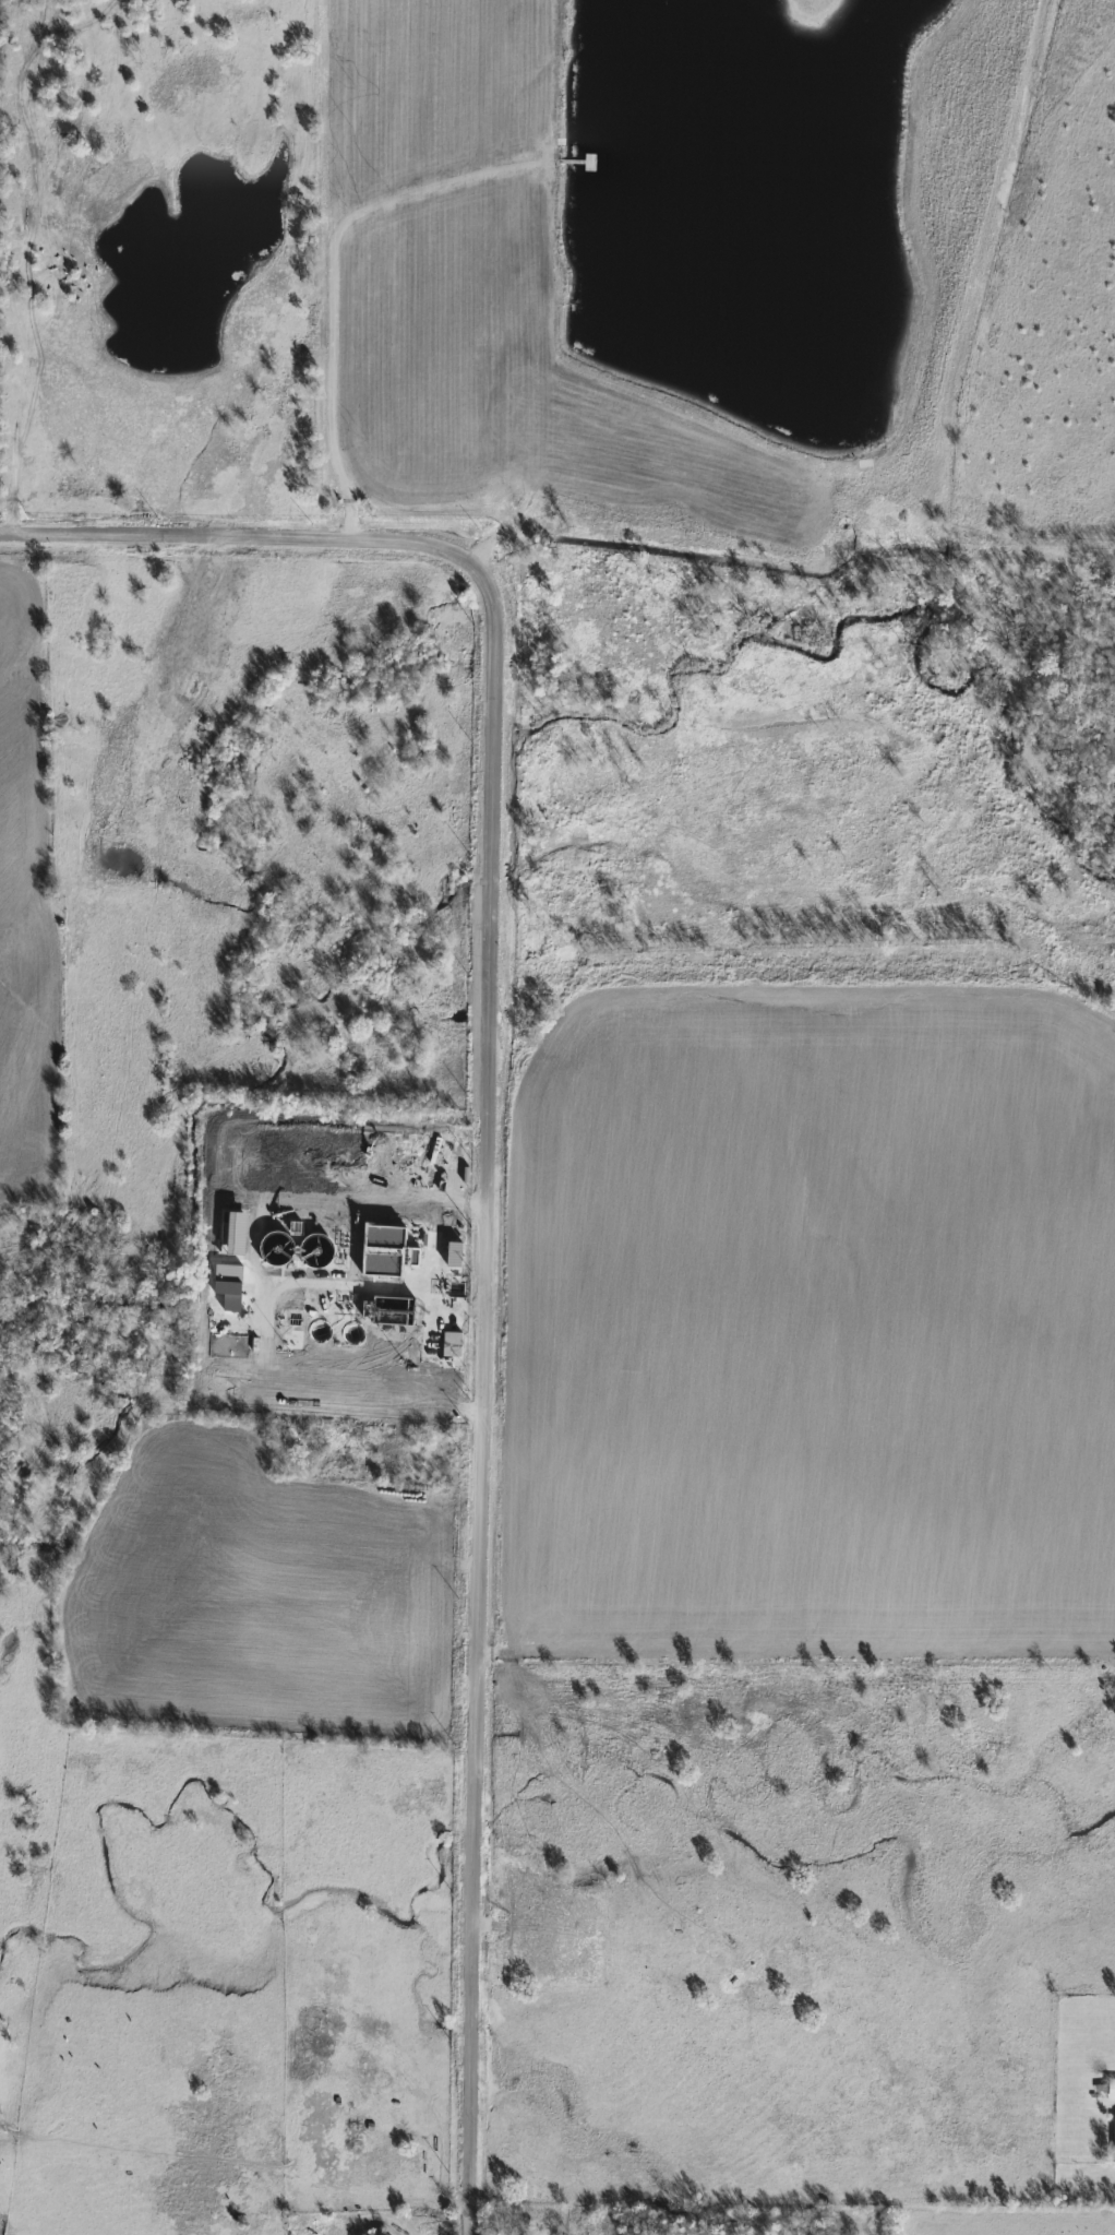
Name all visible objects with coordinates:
road: (485, 1143)
road: (415, 1293)
building: (449, 1344)
building: (1110, 2090)
road: (469, 2223)

